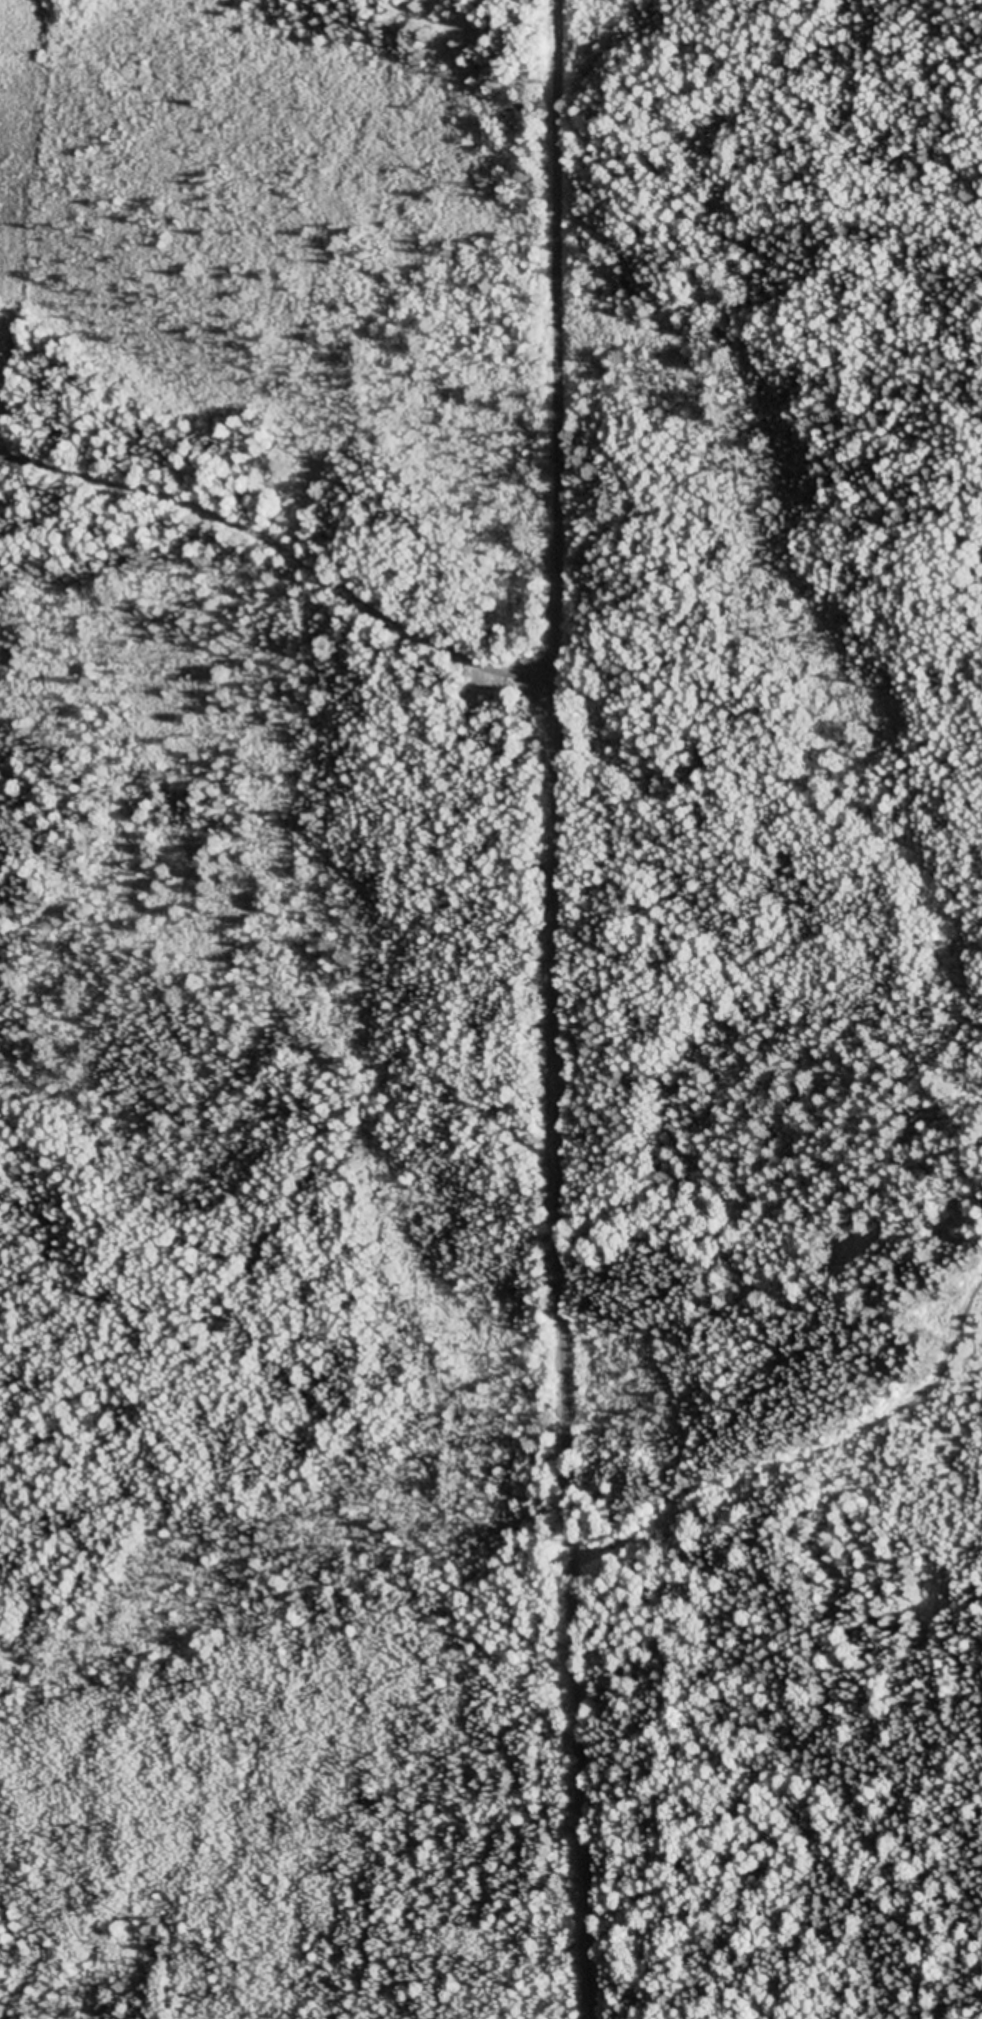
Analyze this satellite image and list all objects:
road: (762, 180)
road: (285, 556)
road: (559, 1009)
road: (793, 1426)

